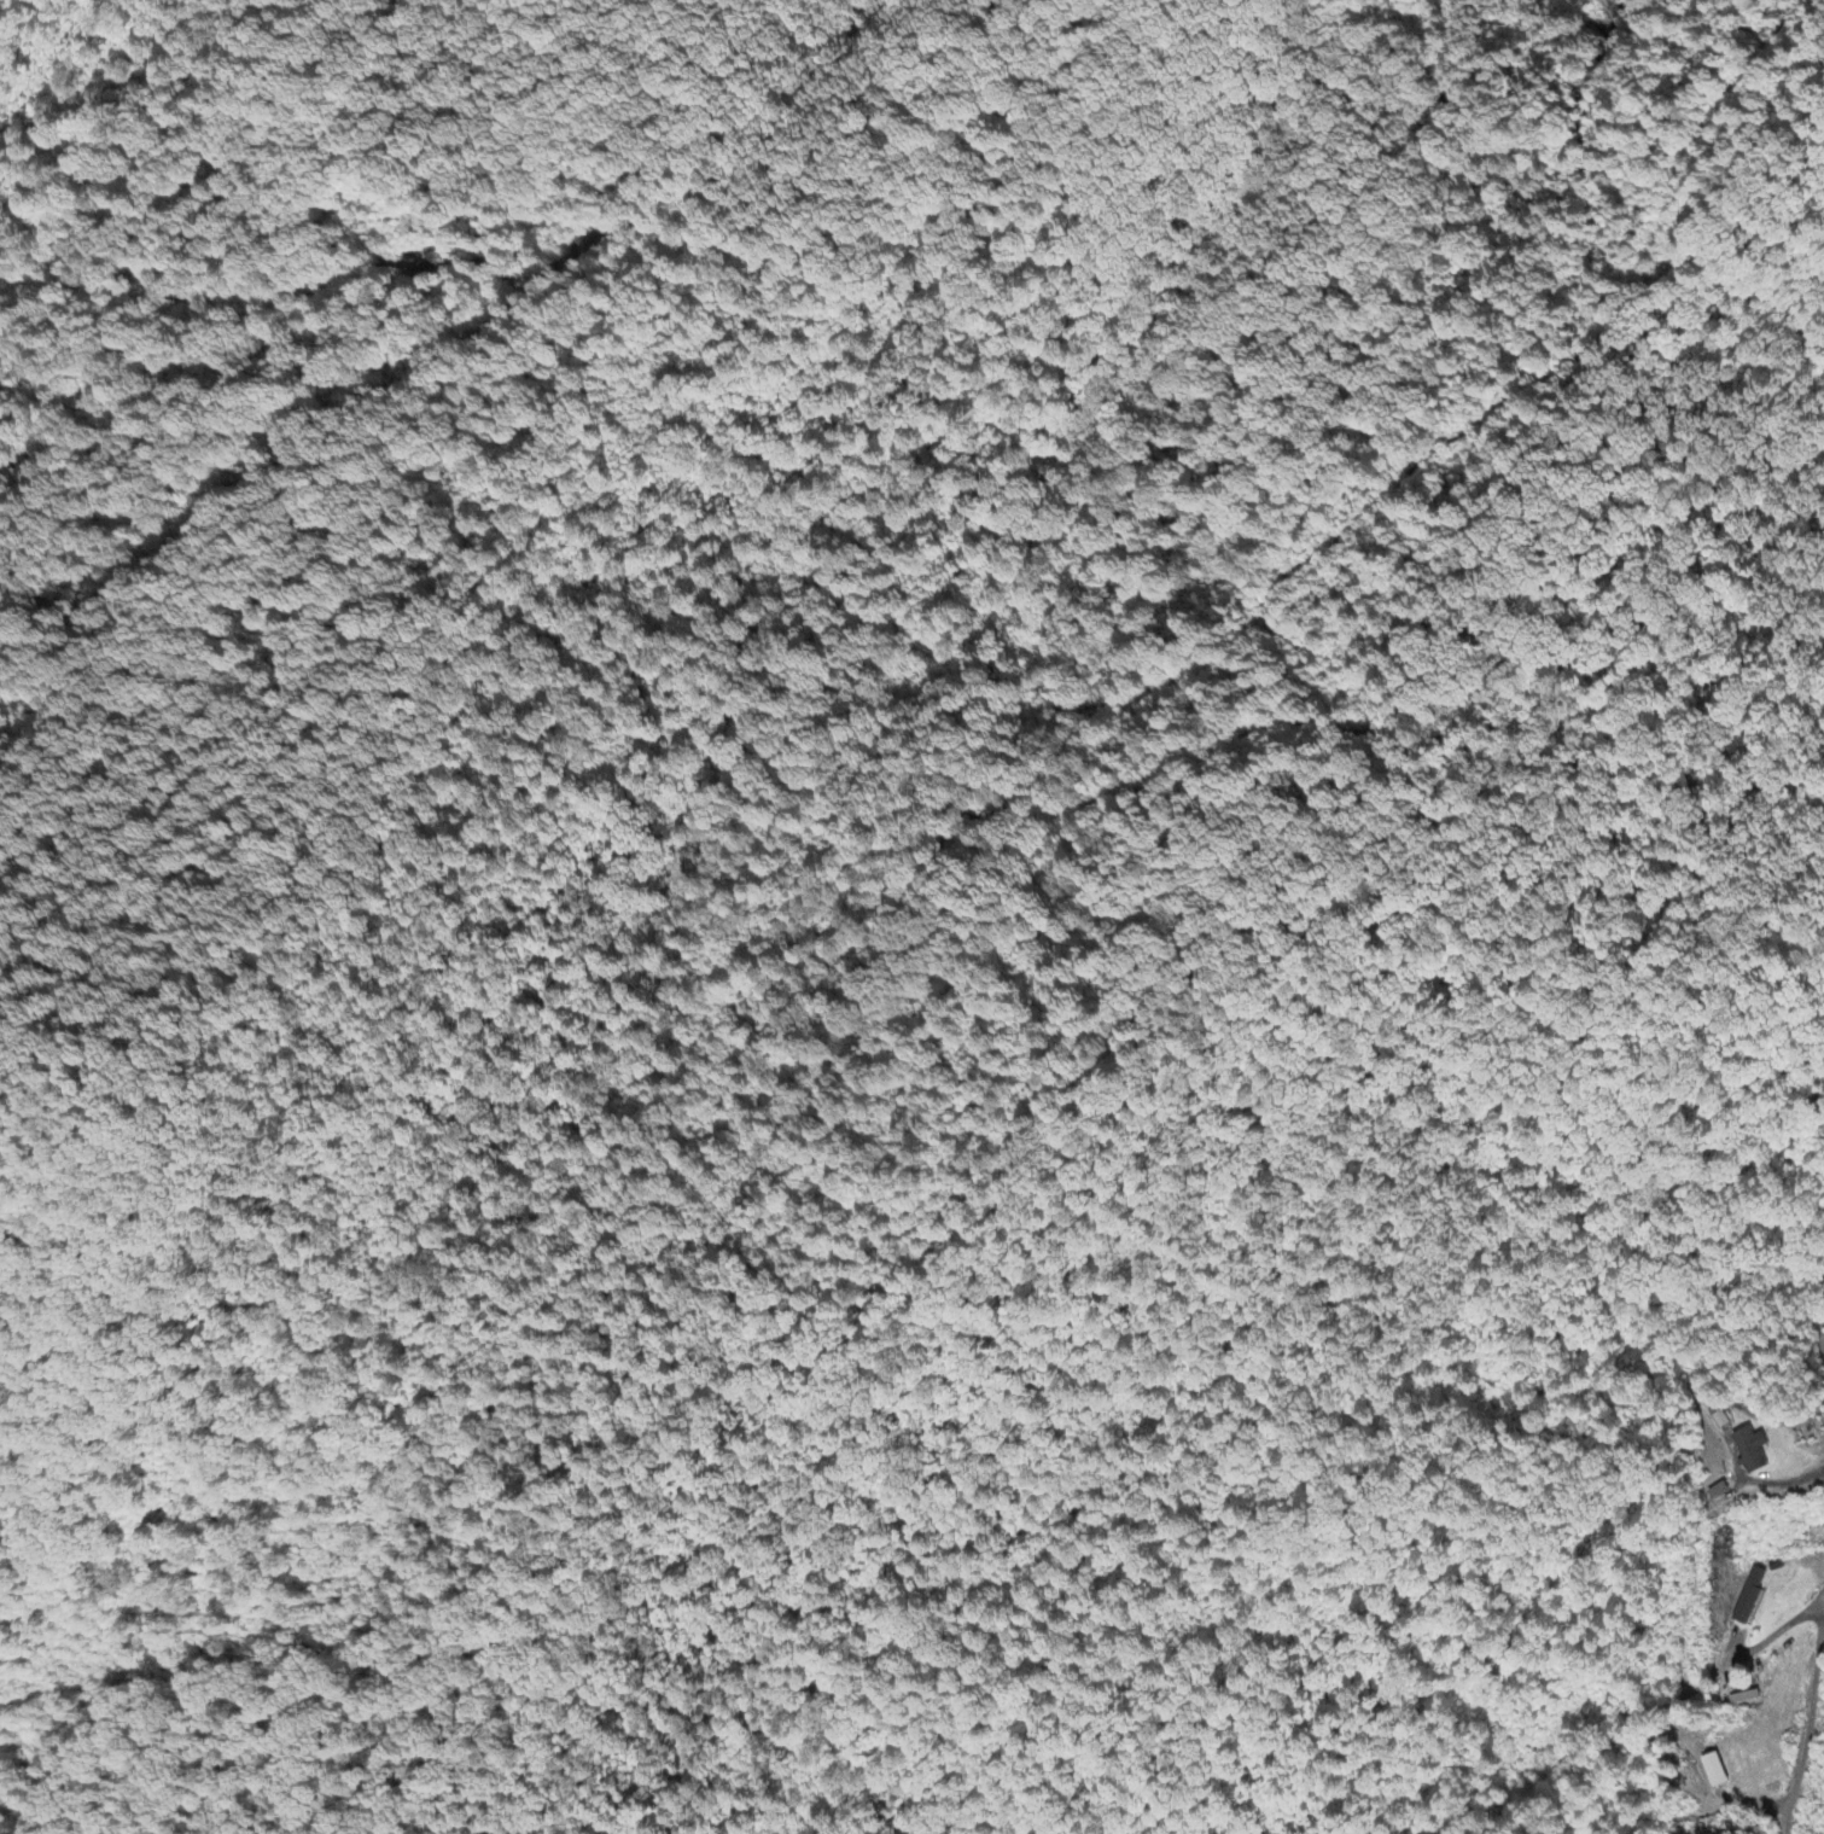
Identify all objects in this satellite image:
building: (1747, 1450)
building: (1747, 1596)
road: (1807, 1730)

